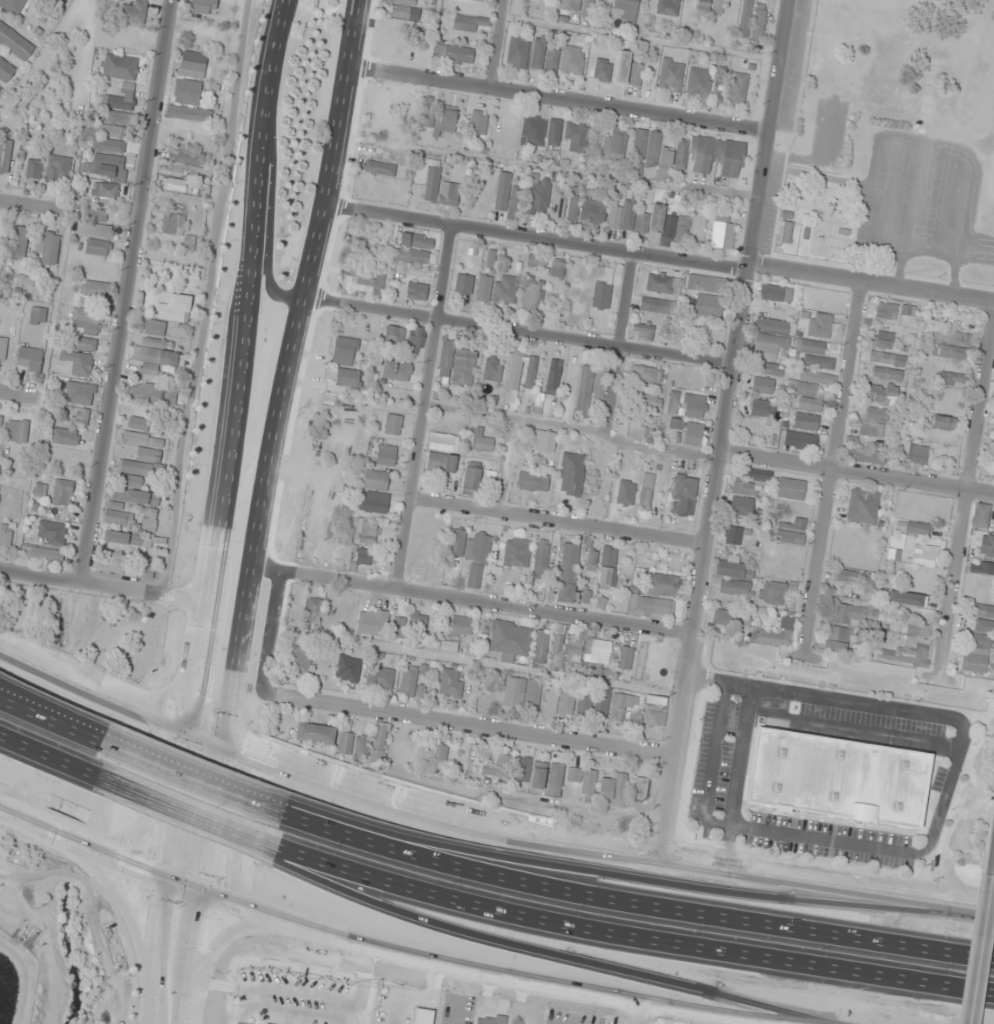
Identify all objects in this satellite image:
building: (401, 2)
building: (12, 6)
building: (204, 7)
building: (668, 7)
building: (710, 7)
building: (625, 9)
railway: (241, 11)
building: (134, 12)
building: (411, 15)
building: (752, 21)
building: (469, 23)
building: (14, 42)
road: (499, 44)
building: (518, 52)
building: (454, 54)
building: (544, 57)
building: (573, 60)
building: (192, 64)
building: (120, 67)
building: (602, 70)
building: (628, 70)
building: (5, 71)
building: (671, 75)
building: (699, 85)
building: (737, 88)
building: (187, 92)
building: (120, 99)
road: (559, 100)
building: (189, 114)
building: (428, 114)
building: (118, 118)
building: (448, 119)
building: (479, 124)
building: (555, 127)
building: (533, 131)
road: (771, 134)
building: (108, 137)
building: (576, 138)
building: (615, 141)
building: (378, 152)
building: (651, 152)
building: (5, 155)
building: (681, 155)
building: (718, 157)
building: (187, 163)
building: (106, 166)
building: (379, 168)
building: (58, 170)
building: (34, 172)
building: (430, 181)
building: (105, 190)
building: (502, 192)
building: (450, 195)
building: (538, 197)
road: (24, 206)
building: (558, 206)
building: (573, 209)
building: (593, 212)
building: (627, 219)
building: (173, 224)
building: (666, 225)
building: (786, 228)
building: (96, 230)
building: (723, 234)
building: (417, 240)
road: (537, 240)
building: (19, 244)
building: (48, 248)
building: (97, 248)
building: (416, 257)
building: (536, 262)
building: (557, 269)
building: (362, 283)
building: (663, 284)
building: (705, 284)
road: (872, 284)
building: (464, 285)
building: (96, 289)
building: (603, 289)
road: (128, 291)
building: (417, 291)
building: (498, 291)
building: (775, 293)
building: (532, 296)
building: (656, 306)
building: (708, 307)
building: (895, 313)
building: (169, 314)
building: (37, 316)
building: (87, 322)
building: (772, 325)
building: (820, 325)
road: (517, 331)
building: (642, 331)
building: (394, 335)
building: (885, 338)
building: (416, 339)
building: (85, 344)
road: (619, 344)
building: (769, 344)
building: (951, 344)
building: (3, 347)
building: (812, 347)
building: (345, 351)
building: (154, 355)
building: (883, 360)
building: (27, 361)
building: (78, 362)
building: (818, 362)
road: (736, 363)
building: (457, 364)
building: (766, 368)
building: (492, 369)
building: (396, 371)
building: (530, 373)
building: (554, 374)
building: (645, 374)
building: (886, 375)
building: (514, 376)
building: (348, 378)
building: (953, 379)
building: (600, 385)
building: (762, 385)
building: (585, 388)
building: (811, 389)
building: (153, 393)
building: (882, 395)
road: (15, 397)
building: (80, 399)
building: (646, 399)
building: (694, 407)
road: (424, 408)
building: (759, 408)
building: (876, 414)
building: (0, 421)
building: (806, 422)
building: (138, 423)
building: (943, 423)
building: (750, 424)
building: (392, 425)
road: (574, 427)
building: (871, 430)
building: (17, 431)
building: (634, 432)
building: (693, 435)
building: (65, 437)
building: (481, 441)
building: (800, 441)
building: (444, 442)
building: (544, 442)
road: (266, 443)
road: (223, 445)
building: (141, 454)
building: (386, 455)
building: (915, 455)
building: (865, 456)
road: (832, 458)
building: (441, 462)
road: (857, 473)
building: (572, 475)
building: (756, 475)
building: (992, 475)
building: (375, 479)
building: (471, 481)
building: (132, 482)
building: (533, 482)
road: (967, 483)
building: (627, 489)
building: (745, 489)
building: (791, 489)
building: (646, 491)
building: (62, 492)
building: (684, 495)
building: (135, 498)
building: (374, 503)
building: (741, 506)
building: (863, 507)
building: (119, 518)
building: (980, 518)
road: (559, 523)
building: (918, 530)
building: (993, 530)
building: (793, 531)
building: (52, 533)
building: (368, 533)
building: (5, 534)
building: (732, 535)
building: (135, 541)
building: (470, 547)
building: (518, 553)
building: (43, 554)
building: (925, 556)
building: (365, 557)
building: (540, 557)
building: (591, 560)
building: (608, 566)
building: (730, 568)
building: (126, 569)
building: (981, 569)
building: (568, 573)
building: (844, 576)
road: (101, 584)
building: (661, 584)
building: (734, 587)
building: (920, 587)
building: (772, 593)
road: (471, 601)
building: (653, 607)
building: (314, 609)
building: (982, 611)
building: (720, 618)
building: (415, 622)
building: (371, 623)
building: (461, 627)
park: (97, 630)
building: (773, 635)
building: (509, 639)
building: (837, 639)
building: (907, 641)
building: (448, 647)
building: (540, 647)
building: (976, 647)
building: (598, 652)
road: (690, 657)
building: (626, 659)
building: (299, 662)
building: (348, 669)
building: (379, 679)
building: (451, 683)
building: (410, 684)
building: (524, 694)
road: (29, 697)
building: (567, 702)
building: (584, 704)
building: (621, 706)
road: (53, 709)
building: (655, 711)
road: (404, 714)
building: (315, 733)
building: (379, 740)
building: (345, 743)
building: (361, 746)
road: (51, 752)
building: (438, 754)
building: (500, 767)
building: (530, 772)
road: (196, 773)
building: (836, 778)
building: (555, 779)
building: (588, 783)
building: (641, 789)
building: (614, 790)
road: (187, 806)
road: (181, 812)
road: (485, 819)
road: (993, 868)
road: (628, 876)
road: (635, 906)
road: (122, 910)
road: (218, 937)
road: (628, 937)
road: (542, 948)
road: (980, 949)
road: (385, 950)
road: (179, 956)
wastewater plant: (8, 989)
road: (637, 1013)
building: (423, 1016)
building: (490, 1020)

